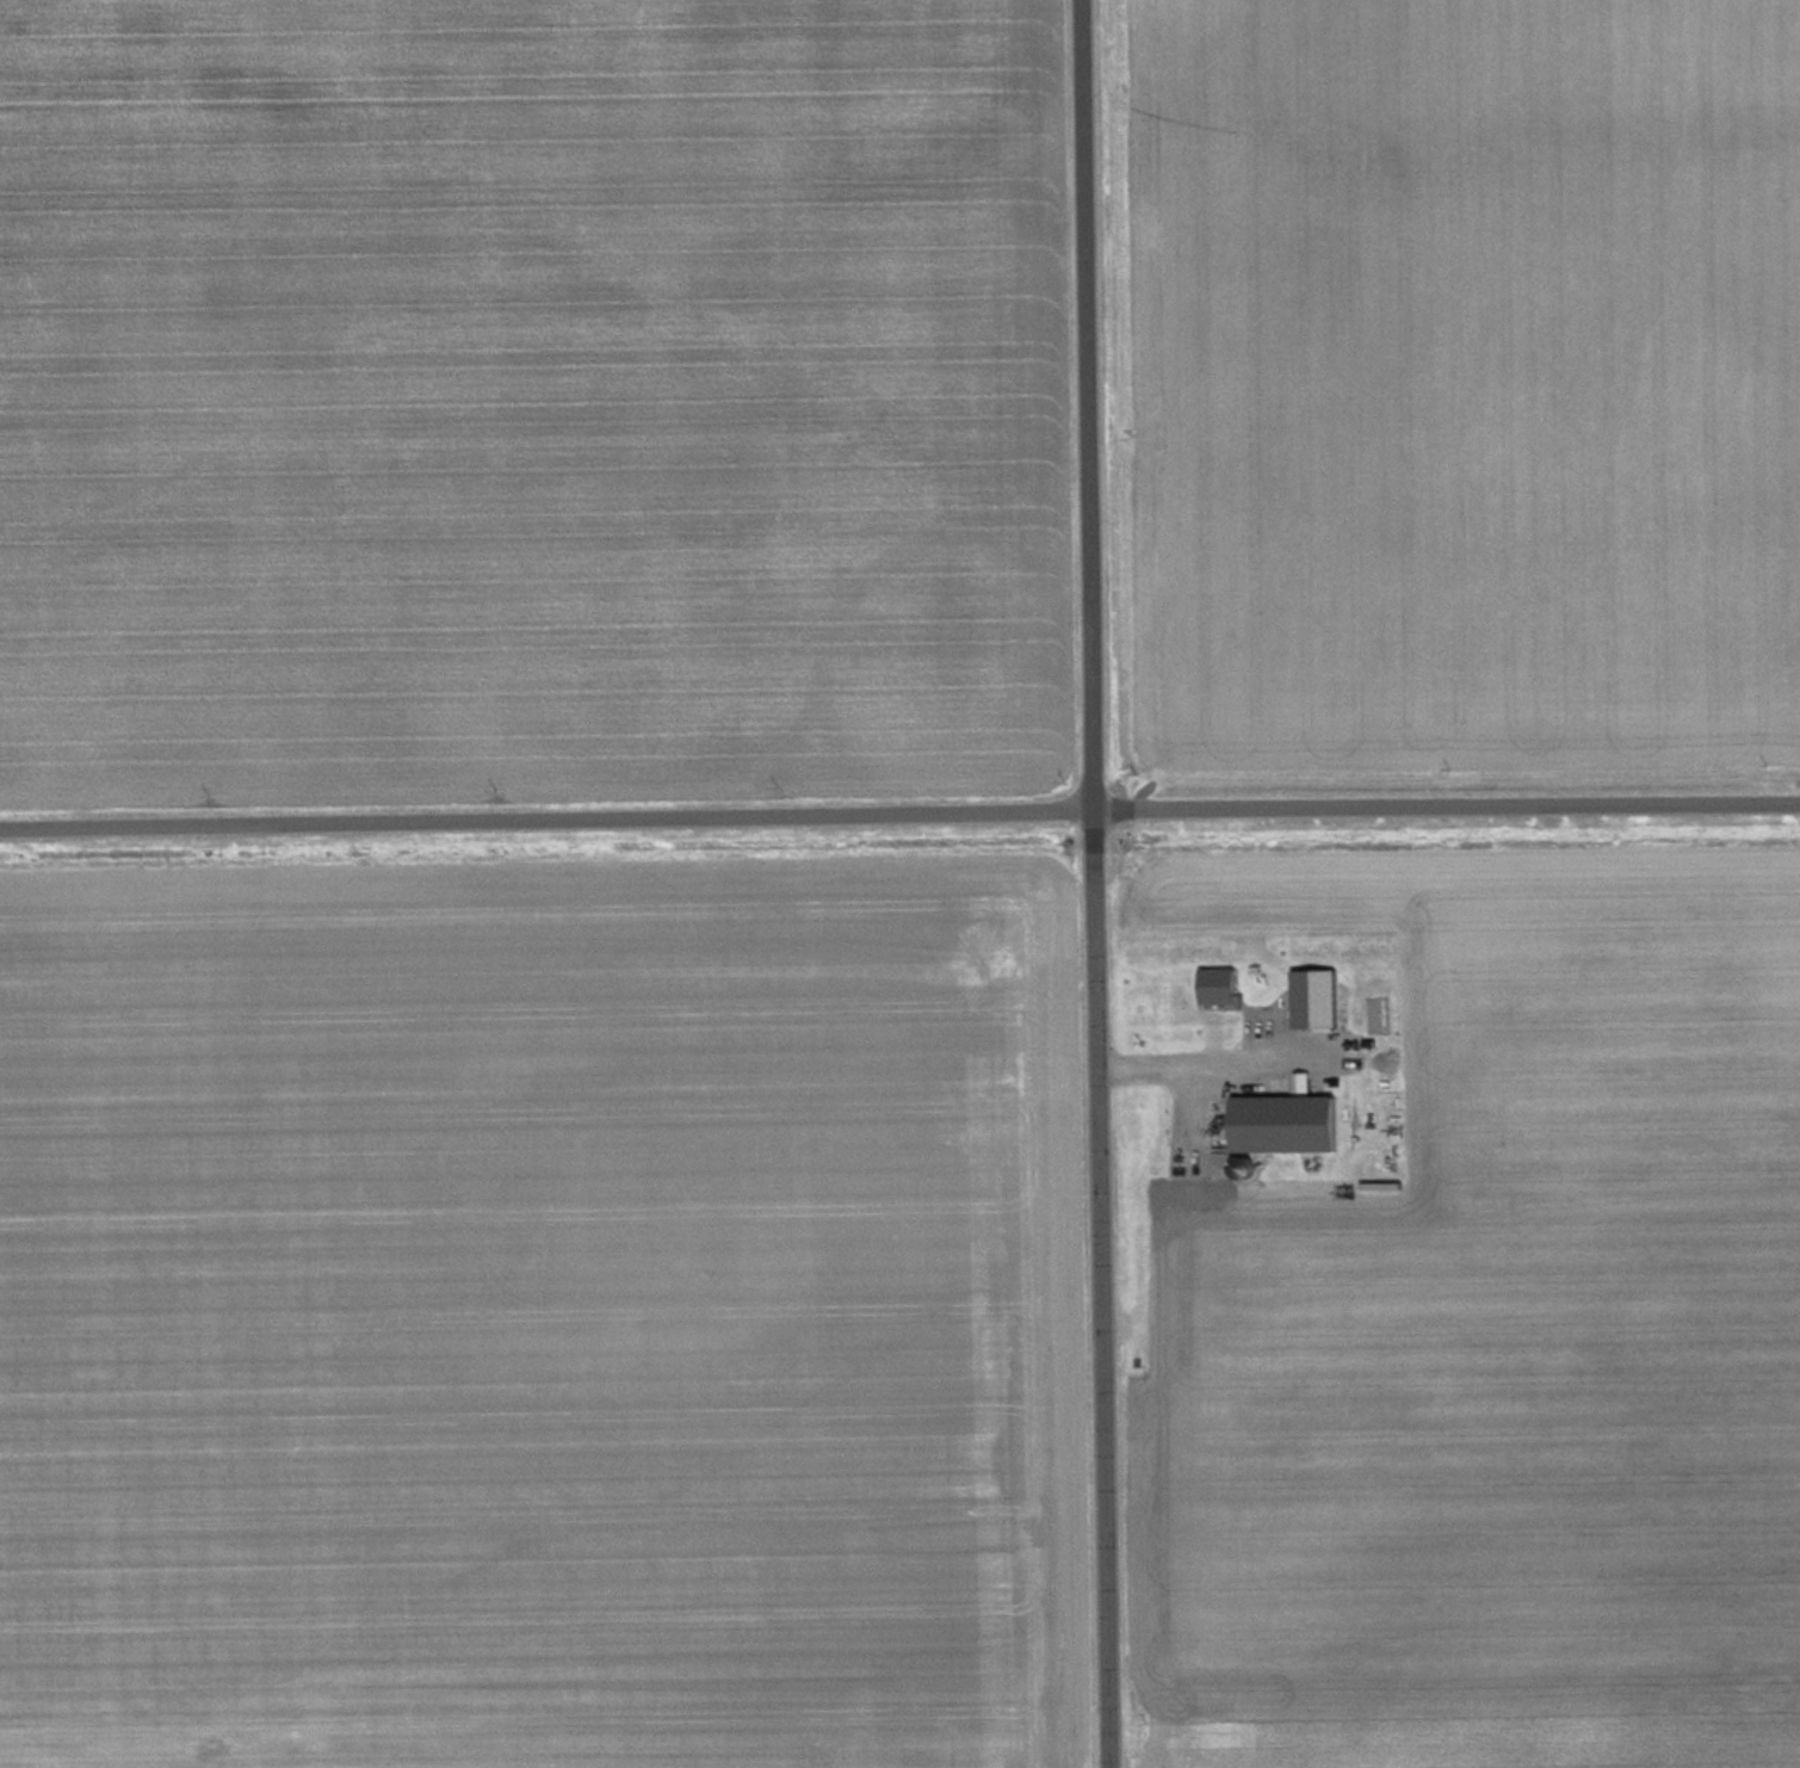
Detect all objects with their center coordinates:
road: (899, 812)
road: (1101, 884)
building: (1313, 997)
building: (1190, 1006)

